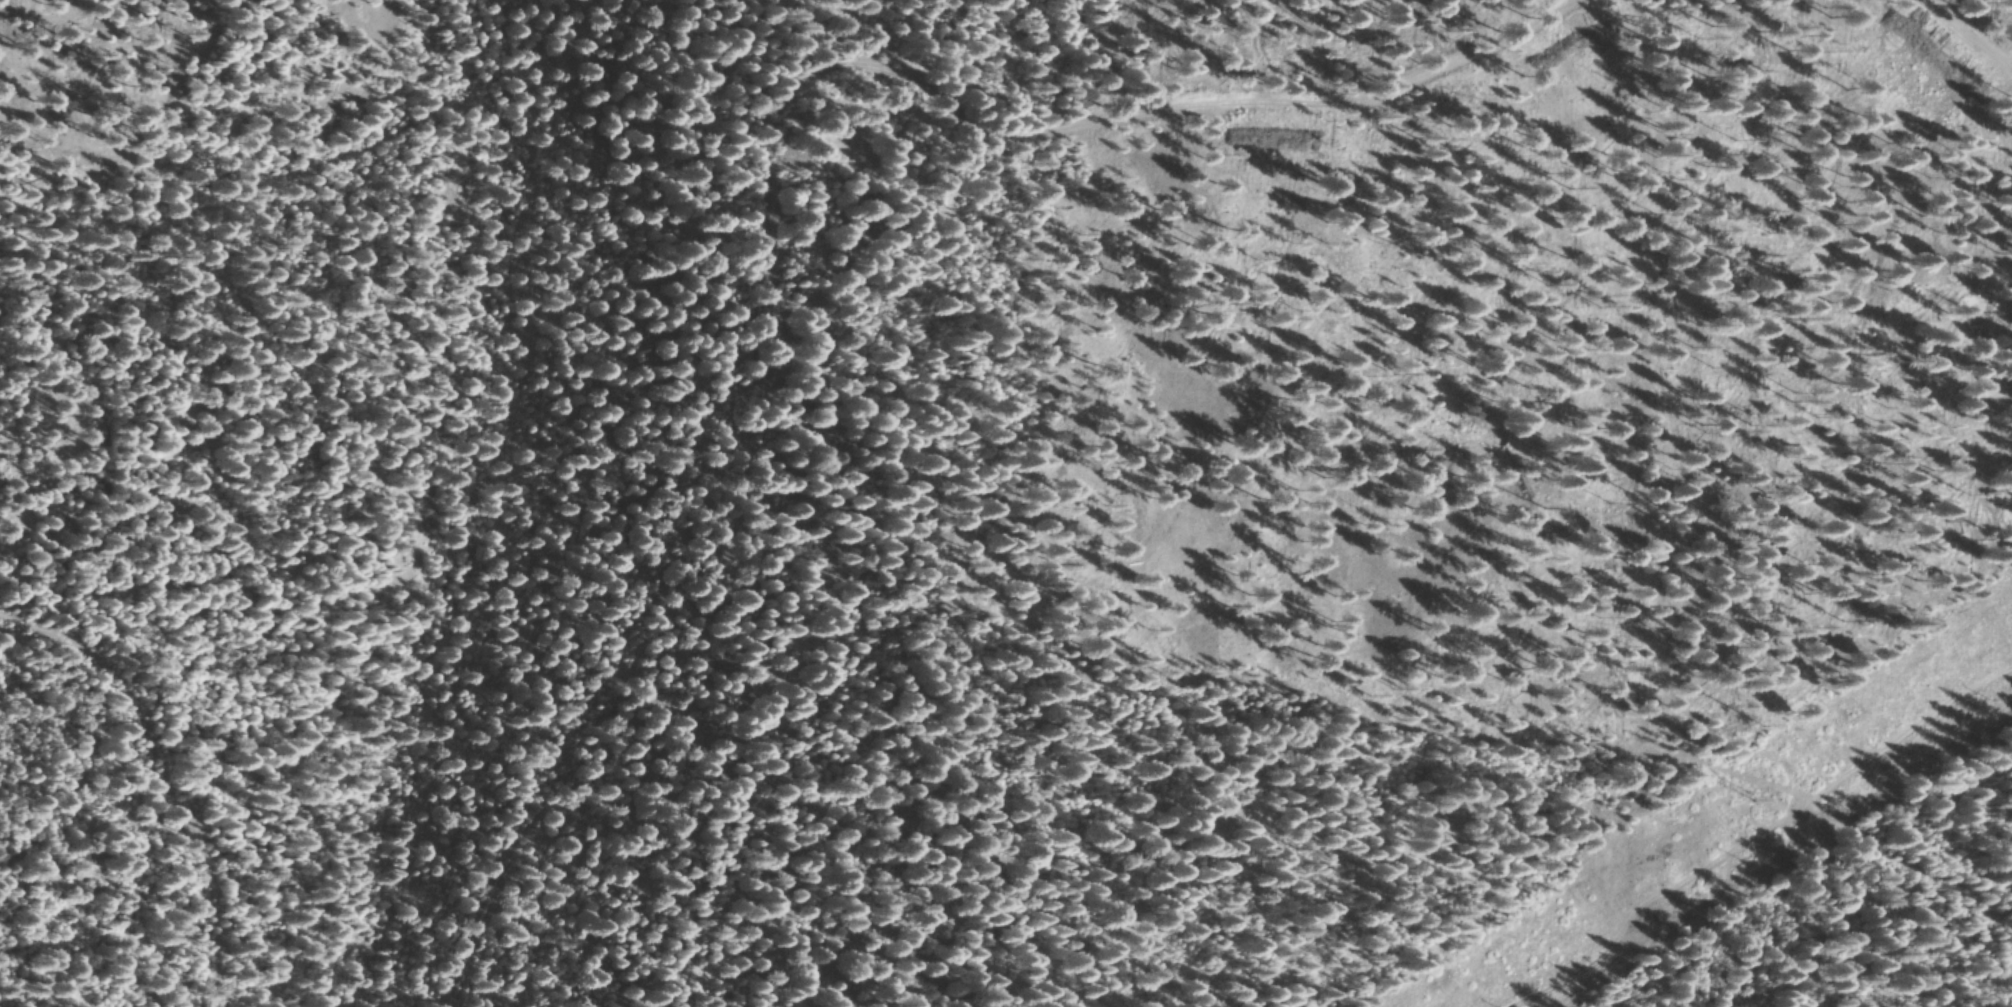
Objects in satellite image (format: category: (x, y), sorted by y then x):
road: (1826, 60)
road: (349, 74)
road: (795, 203)
road: (1282, 651)
power tower: (1758, 794)
road: (106, 804)

